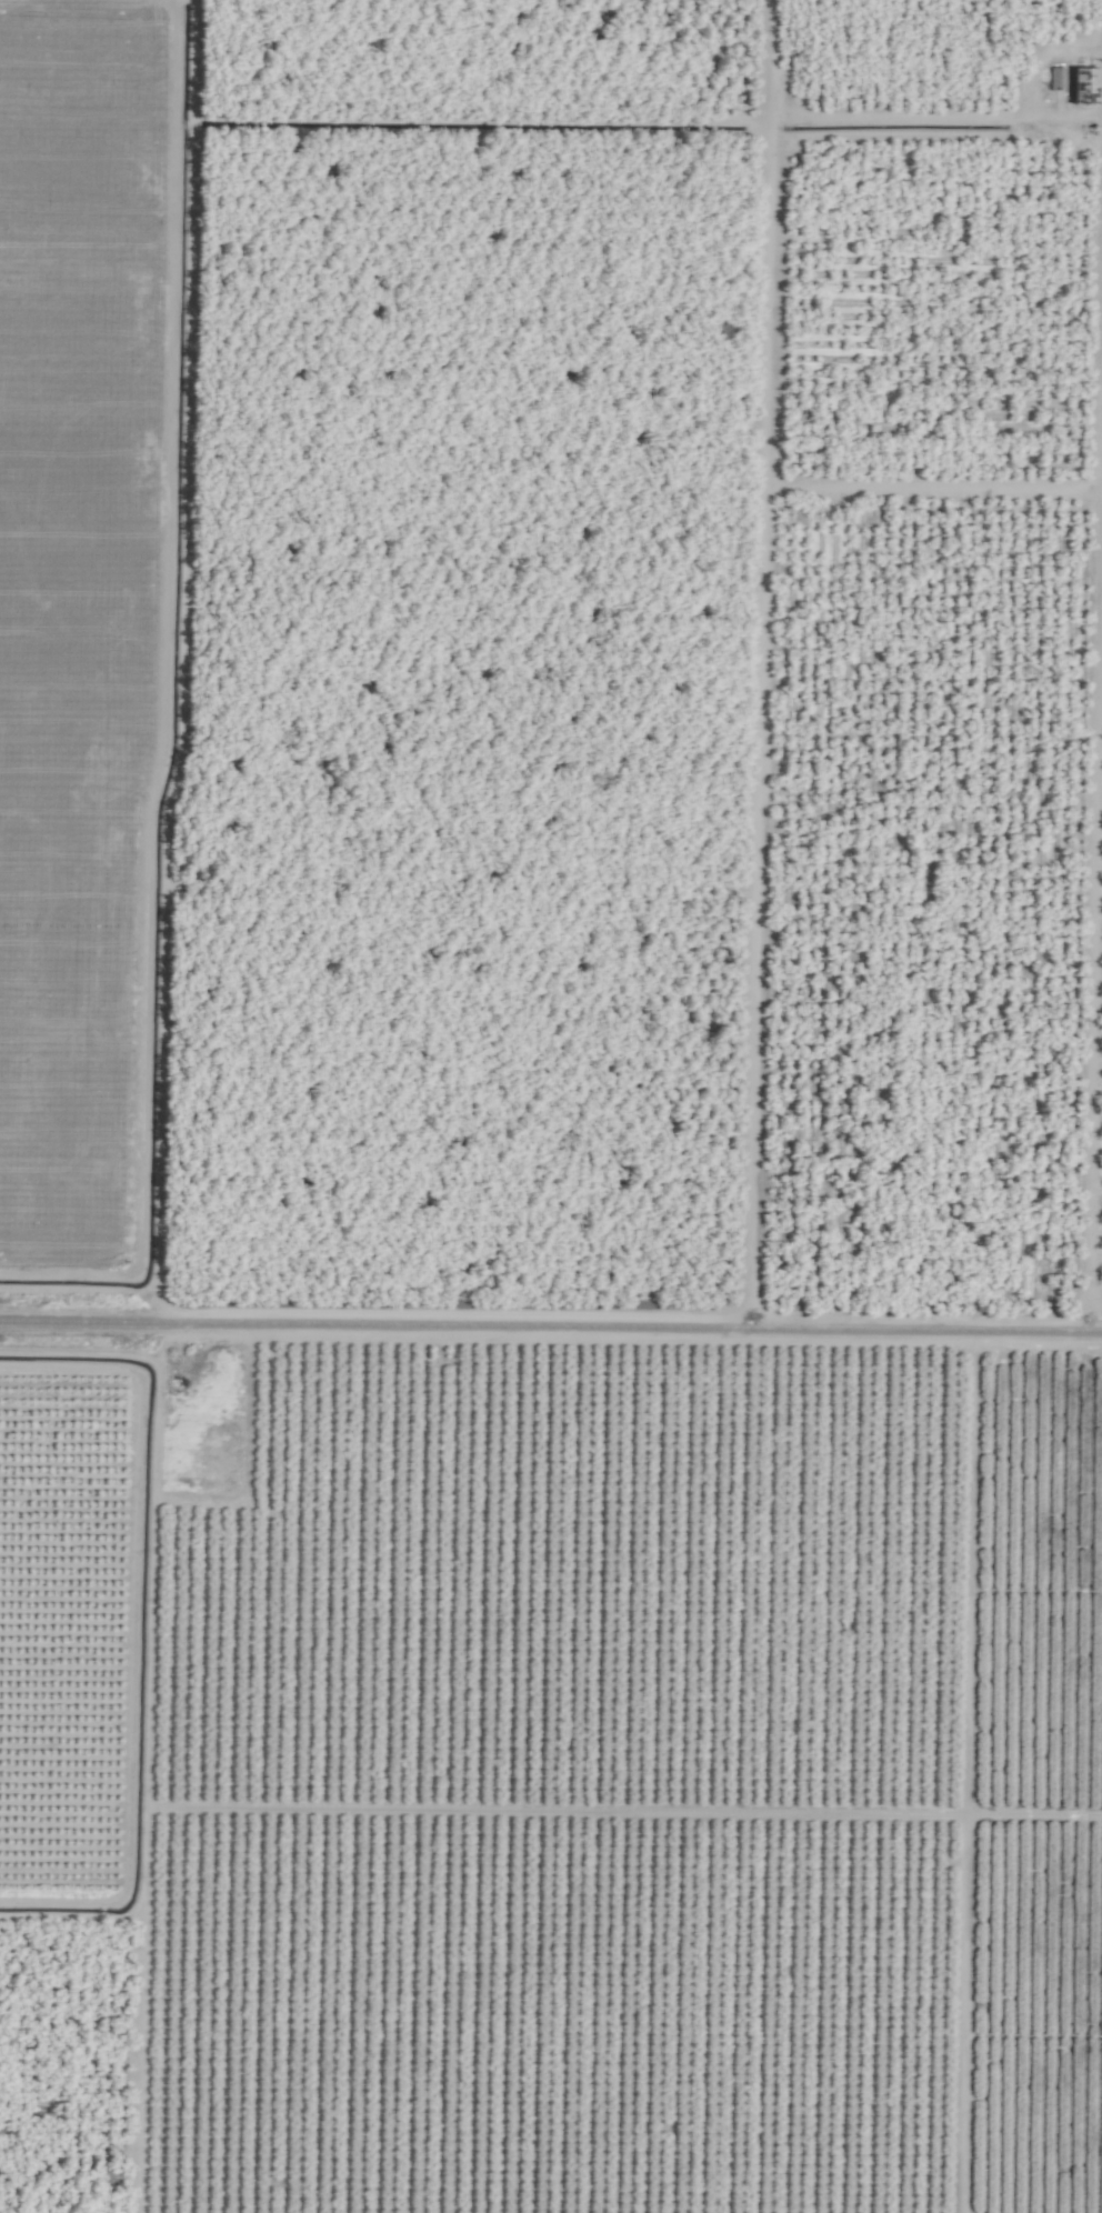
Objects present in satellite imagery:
building: (1054, 78)
crop: (551, 1106)
railway: (551, 1326)

